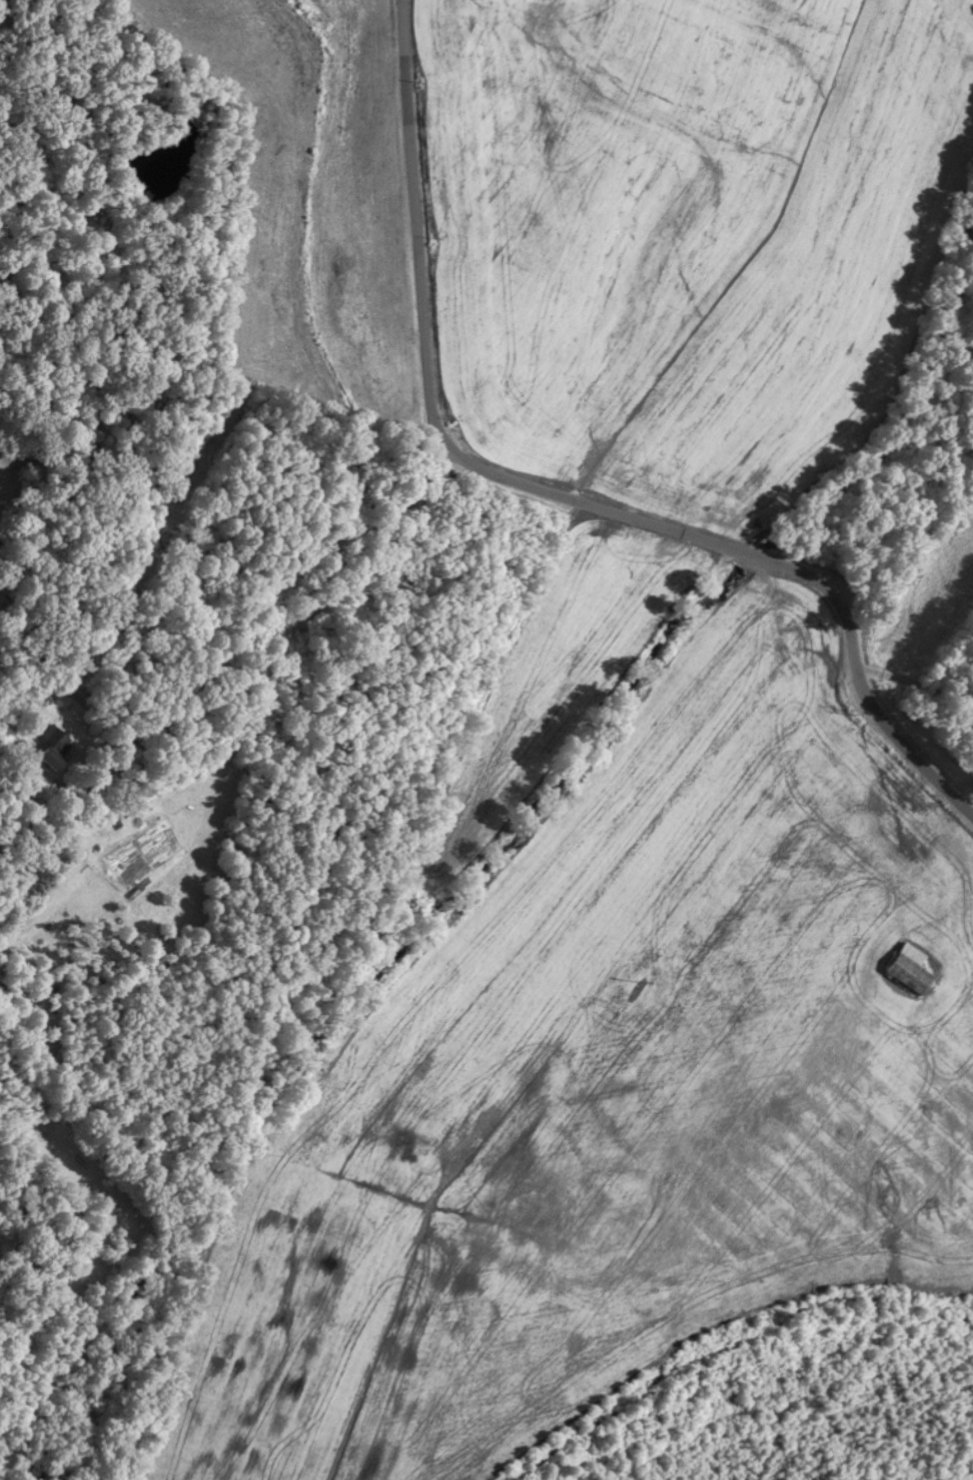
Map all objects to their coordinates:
road: (552, 493)
road: (312, 640)
building: (53, 746)
building: (909, 968)

